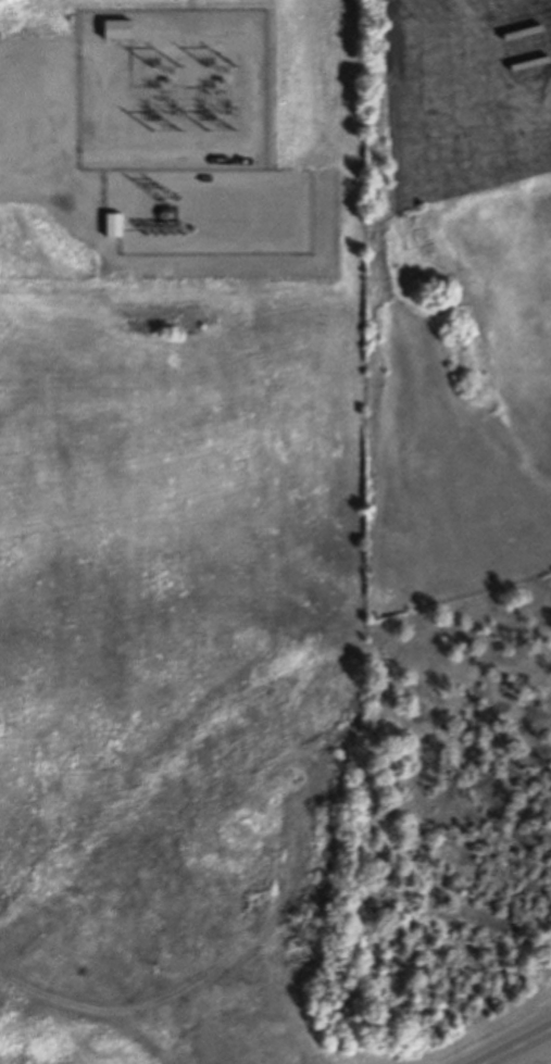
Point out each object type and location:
building: (116, 29)
building: (120, 224)
road: (543, 1034)
road: (543, 1040)
road: (511, 1051)

